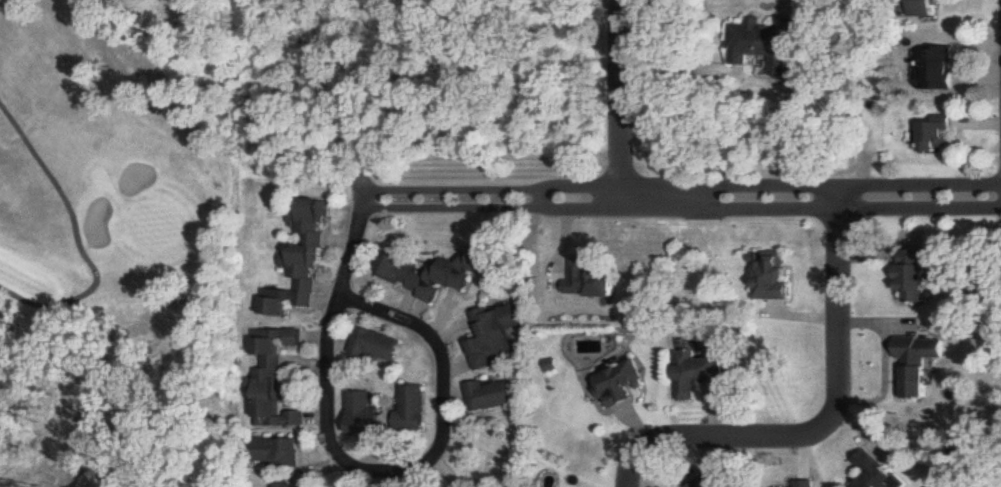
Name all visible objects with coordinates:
building: (928, 9)
building: (763, 42)
building: (938, 70)
road: (627, 100)
building: (938, 136)
road: (686, 200)
park: (118, 251)
road: (356, 254)
building: (300, 260)
building: (437, 274)
building: (916, 276)
building: (775, 278)
building: (594, 282)
road: (388, 315)
building: (496, 335)
building: (374, 346)
road: (886, 359)
building: (921, 363)
building: (703, 373)
building: (273, 378)
building: (627, 384)
building: (491, 396)
building: (410, 409)
building: (361, 415)
road: (827, 424)
building: (276, 454)
road: (373, 469)
building: (879, 472)
building: (704, 484)
building: (807, 484)
building: (287, 485)

